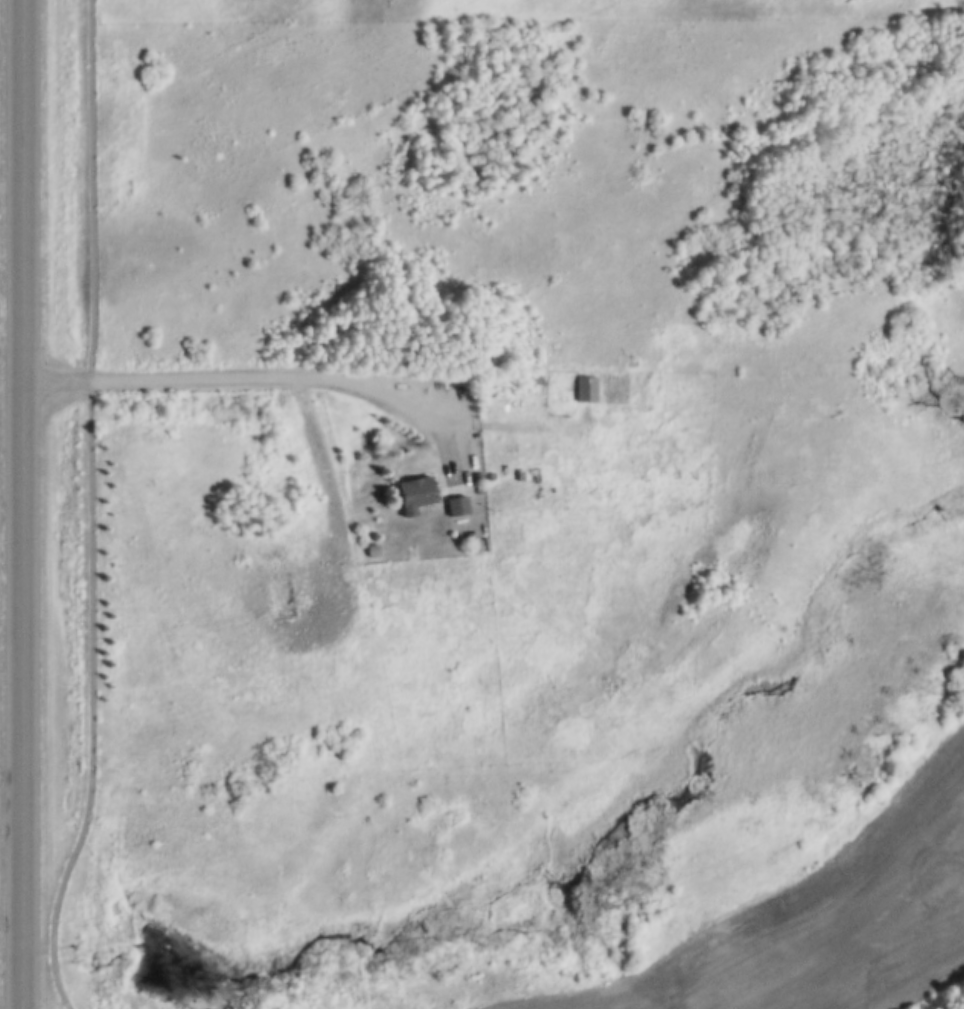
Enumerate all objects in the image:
building: (633, 359)
building: (540, 375)
road: (273, 376)
building: (586, 385)
road: (538, 424)
building: (415, 490)
building: (458, 502)
road: (21, 504)
road: (86, 508)
building: (472, 539)
building: (372, 547)
building: (283, 599)

